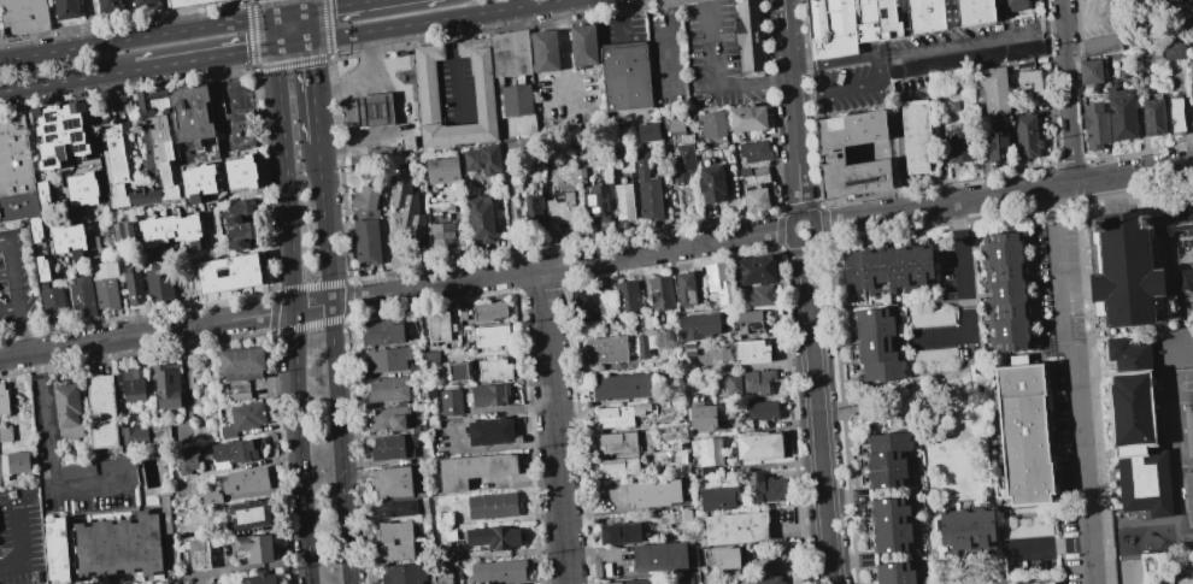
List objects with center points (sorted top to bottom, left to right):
building: (1158, 0)
building: (998, 1)
building: (1164, 1)
building: (145, 2)
building: (187, 2)
road: (349, 2)
building: (1017, 4)
building: (110, 6)
road: (305, 6)
road: (341, 6)
road: (274, 7)
building: (66, 10)
traffic signals: (306, 12)
road: (290, 13)
building: (23, 16)
traffic signals: (275, 16)
building: (916, 16)
road: (164, 17)
road: (619, 19)
road: (437, 20)
road: (94, 22)
road: (307, 26)
parking lot: (622, 28)
building: (831, 28)
road: (1063, 30)
road: (275, 31)
building: (748, 35)
road: (137, 37)
road: (969, 40)
building: (1139, 40)
traffic signals: (310, 42)
road: (710, 43)
building: (1101, 43)
road: (293, 45)
road: (670, 45)
building: (583, 46)
traffic signals: (276, 48)
building: (1175, 49)
building: (545, 51)
road: (564, 51)
building: (966, 58)
road: (206, 59)
parking lot: (666, 59)
parking lot: (715, 59)
building: (1024, 61)
road: (374, 63)
road: (452, 70)
road: (877, 70)
building: (1091, 70)
building: (1141, 75)
building: (625, 77)
building: (518, 81)
building: (1030, 81)
road: (67, 82)
road: (752, 84)
road: (278, 85)
road: (345, 87)
building: (995, 88)
building: (1192, 89)
parking lot: (454, 90)
road: (313, 93)
building: (427, 99)
parking lot: (569, 100)
road: (792, 106)
building: (953, 106)
gas station: (377, 107)
building: (374, 110)
road: (378, 110)
building: (189, 112)
building: (1122, 112)
building: (1177, 114)
building: (1153, 116)
rooftop solar panel: (48, 118)
building: (747, 118)
road: (1071, 120)
rooftop solar panel: (71, 123)
building: (674, 124)
building: (711, 124)
building: (1097, 124)
rooftop solar panel: (48, 129)
building: (647, 131)
building: (58, 134)
building: (916, 134)
building: (1027, 135)
rooftop solar panel: (51, 136)
rooftop solar panel: (76, 136)
road: (354, 142)
building: (998, 143)
building: (960, 144)
building: (392, 148)
rooftop solar panel: (80, 149)
building: (754, 151)
building: (831, 152)
building: (482, 159)
rooftop solar panel: (52, 160)
building: (159, 164)
building: (682, 164)
building: (75, 167)
building: (441, 170)
building: (16, 171)
building: (742, 171)
building: (240, 172)
building: (759, 173)
building: (578, 175)
building: (196, 182)
building: (711, 183)
building: (82, 188)
building: (646, 189)
building: (41, 193)
road: (1004, 193)
rooftop solar panel: (593, 200)
building: (756, 200)
building: (623, 201)
building: (596, 203)
building: (449, 206)
building: (235, 210)
building: (407, 210)
building: (560, 211)
rooftop solar panel: (596, 212)
building: (530, 214)
road: (1081, 217)
road: (960, 218)
building: (480, 219)
building: (365, 224)
building: (34, 229)
building: (122, 230)
building: (170, 230)
road: (815, 230)
building: (240, 234)
building: (441, 235)
building: (66, 237)
building: (90, 242)
building: (375, 262)
building: (1134, 265)
road: (559, 266)
road: (963, 266)
building: (891, 267)
road: (12, 269)
building: (41, 269)
building: (754, 269)
road: (6, 272)
rooftop solar panel: (221, 273)
building: (228, 273)
building: (1186, 279)
parking lot: (17, 282)
building: (158, 282)
rooftop solar panel: (712, 282)
building: (718, 282)
building: (105, 284)
parking lot: (1058, 284)
building: (133, 285)
building: (684, 288)
road: (1059, 288)
building: (1006, 291)
building: (660, 293)
building: (759, 295)
building: (81, 296)
building: (627, 297)
building: (51, 303)
building: (584, 303)
road: (8, 309)
building: (488, 311)
building: (462, 312)
building: (930, 319)
building: (751, 322)
building: (646, 323)
rooftop solar panel: (741, 324)
rooftop solar panel: (756, 324)
building: (698, 325)
building: (434, 329)
road: (20, 331)
road: (165, 331)
building: (381, 332)
building: (490, 336)
parking lot: (1176, 342)
building: (645, 344)
building: (875, 344)
road: (1189, 344)
building: (688, 347)
building: (605, 349)
building: (751, 350)
road: (295, 354)
building: (933, 355)
building: (430, 356)
building: (384, 359)
building: (241, 364)
road: (334, 364)
building: (415, 370)
building: (493, 370)
building: (457, 371)
building: (750, 382)
building: (133, 384)
building: (164, 384)
building: (623, 387)
building: (387, 388)
building: (487, 394)
building: (237, 396)
building: (421, 396)
building: (2, 401)
building: (66, 409)
building: (452, 409)
building: (101, 411)
building: (760, 411)
road: (818, 412)
building: (617, 414)
building: (701, 417)
building: (388, 418)
building: (242, 419)
road: (553, 426)
building: (1187, 427)
building: (488, 431)
building: (1136, 431)
building: (5, 432)
building: (134, 435)
building: (1023, 435)
building: (159, 436)
building: (617, 442)
building: (758, 446)
building: (393, 447)
building: (233, 453)
building: (706, 453)
building: (680, 456)
building: (885, 459)
road: (45, 460)
building: (186, 460)
building: (12, 464)
building: (117, 464)
road: (1076, 466)
building: (618, 468)
building: (472, 470)
building: (75, 471)
rooftop solar panel: (759, 477)
rooftop solar panel: (751, 479)
building: (245, 480)
building: (390, 482)
building: (764, 488)
building: (653, 492)
building: (1188, 496)
rooftop solar panel: (1192, 496)
building: (210, 497)
building: (716, 499)
building: (492, 506)
building: (395, 508)
building: (164, 514)
building: (248, 514)
building: (888, 525)
building: (734, 526)
building: (1024, 529)
building: (966, 531)
building: (619, 533)
building: (501, 537)
road: (20, 539)
rooftop solar panel: (625, 539)
building: (393, 541)
rooftop solar panel: (613, 541)
building: (102, 547)
building: (254, 547)
road: (1046, 547)
building: (198, 553)
building: (658, 556)
building: (724, 558)
building: (498, 571)
building: (893, 573)
building: (402, 574)
building: (442, 577)
building: (261, 578)
building: (682, 579)
building: (765, 580)
building: (631, 582)
building: (707, 583)
building: (1044, 583)

